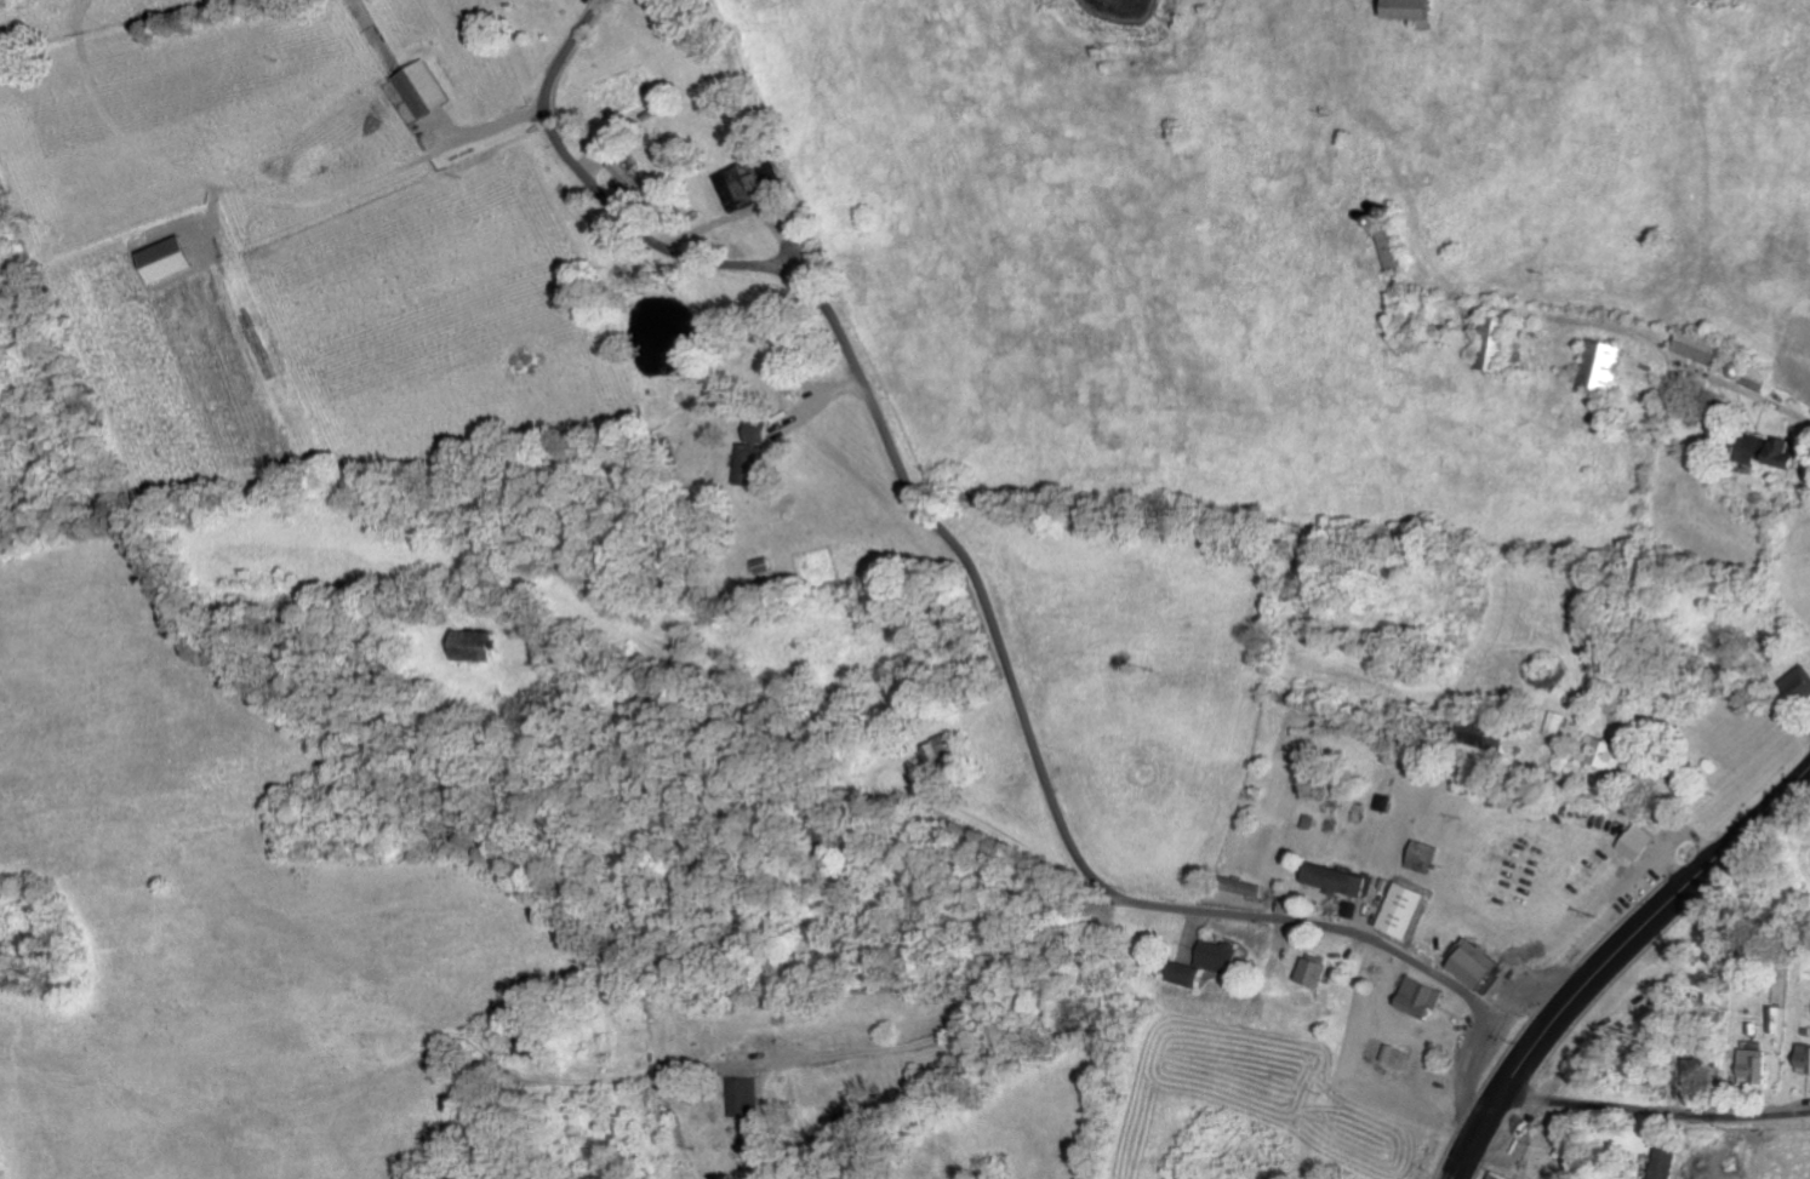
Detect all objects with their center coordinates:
building: (1401, 10)
building: (426, 87)
building: (753, 184)
building: (176, 257)
building: (1706, 345)
building: (1498, 347)
building: (1604, 361)
building: (1778, 450)
building: (758, 452)
road: (973, 583)
building: (486, 643)
building: (1802, 682)
building: (1612, 749)
building: (943, 755)
building: (1640, 841)
building: (1426, 855)
building: (1338, 878)
building: (1408, 908)
road: (1092, 942)
road: (1611, 955)
building: (1205, 962)
building: (1483, 967)
building: (1318, 969)
building: (1426, 996)
building: (1777, 1018)
building: (1758, 1058)
building: (1805, 1058)
building: (746, 1094)
road: (1656, 1108)
building: (764, 1138)
building: (1671, 1161)
building: (1502, 1175)

